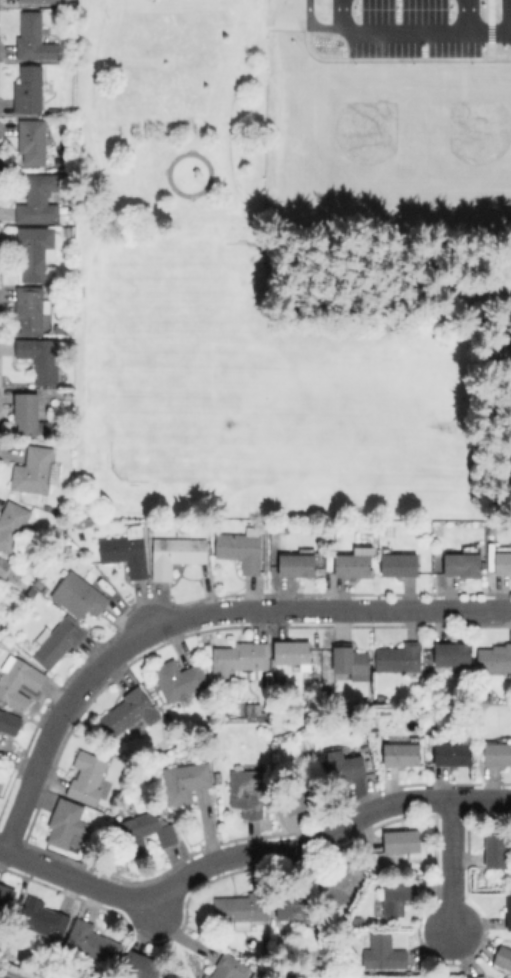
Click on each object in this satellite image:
building: (39, 1)
road: (467, 20)
building: (36, 37)
road: (388, 38)
road: (489, 40)
building: (29, 89)
building: (466, 91)
park: (340, 138)
building: (33, 141)
road: (102, 170)
building: (41, 199)
road: (460, 207)
building: (69, 231)
road: (266, 238)
building: (35, 251)
park: (261, 307)
building: (32, 308)
building: (62, 327)
building: (41, 358)
building: (68, 392)
building: (27, 412)
building: (37, 470)
building: (13, 524)
building: (275, 524)
building: (241, 549)
building: (127, 551)
building: (175, 553)
building: (503, 560)
building: (355, 562)
building: (399, 563)
building: (299, 564)
building: (463, 565)
building: (5, 567)
building: (28, 574)
building: (79, 595)
road: (194, 616)
building: (2, 641)
building: (58, 641)
building: (294, 653)
building: (453, 654)
building: (400, 657)
building: (240, 659)
building: (495, 659)
building: (351, 662)
building: (180, 679)
building: (19, 680)
building: (486, 697)
building: (129, 712)
building: (256, 713)
building: (9, 722)
building: (431, 726)
building: (403, 750)
building: (454, 752)
building: (498, 752)
building: (345, 766)
building: (88, 777)
building: (186, 781)
building: (0, 784)
building: (247, 792)
building: (302, 797)
building: (68, 825)
building: (146, 832)
building: (404, 842)
building: (497, 849)
road: (250, 854)
road: (451, 865)
building: (374, 866)
building: (340, 882)
building: (397, 895)
building: (6, 898)
building: (243, 909)
building: (509, 911)
building: (297, 912)
road: (153, 914)
building: (358, 920)
building: (45, 921)
building: (92, 943)
building: (383, 952)
building: (504, 956)
building: (142, 966)
building: (229, 967)
building: (261, 972)
building: (477, 976)

